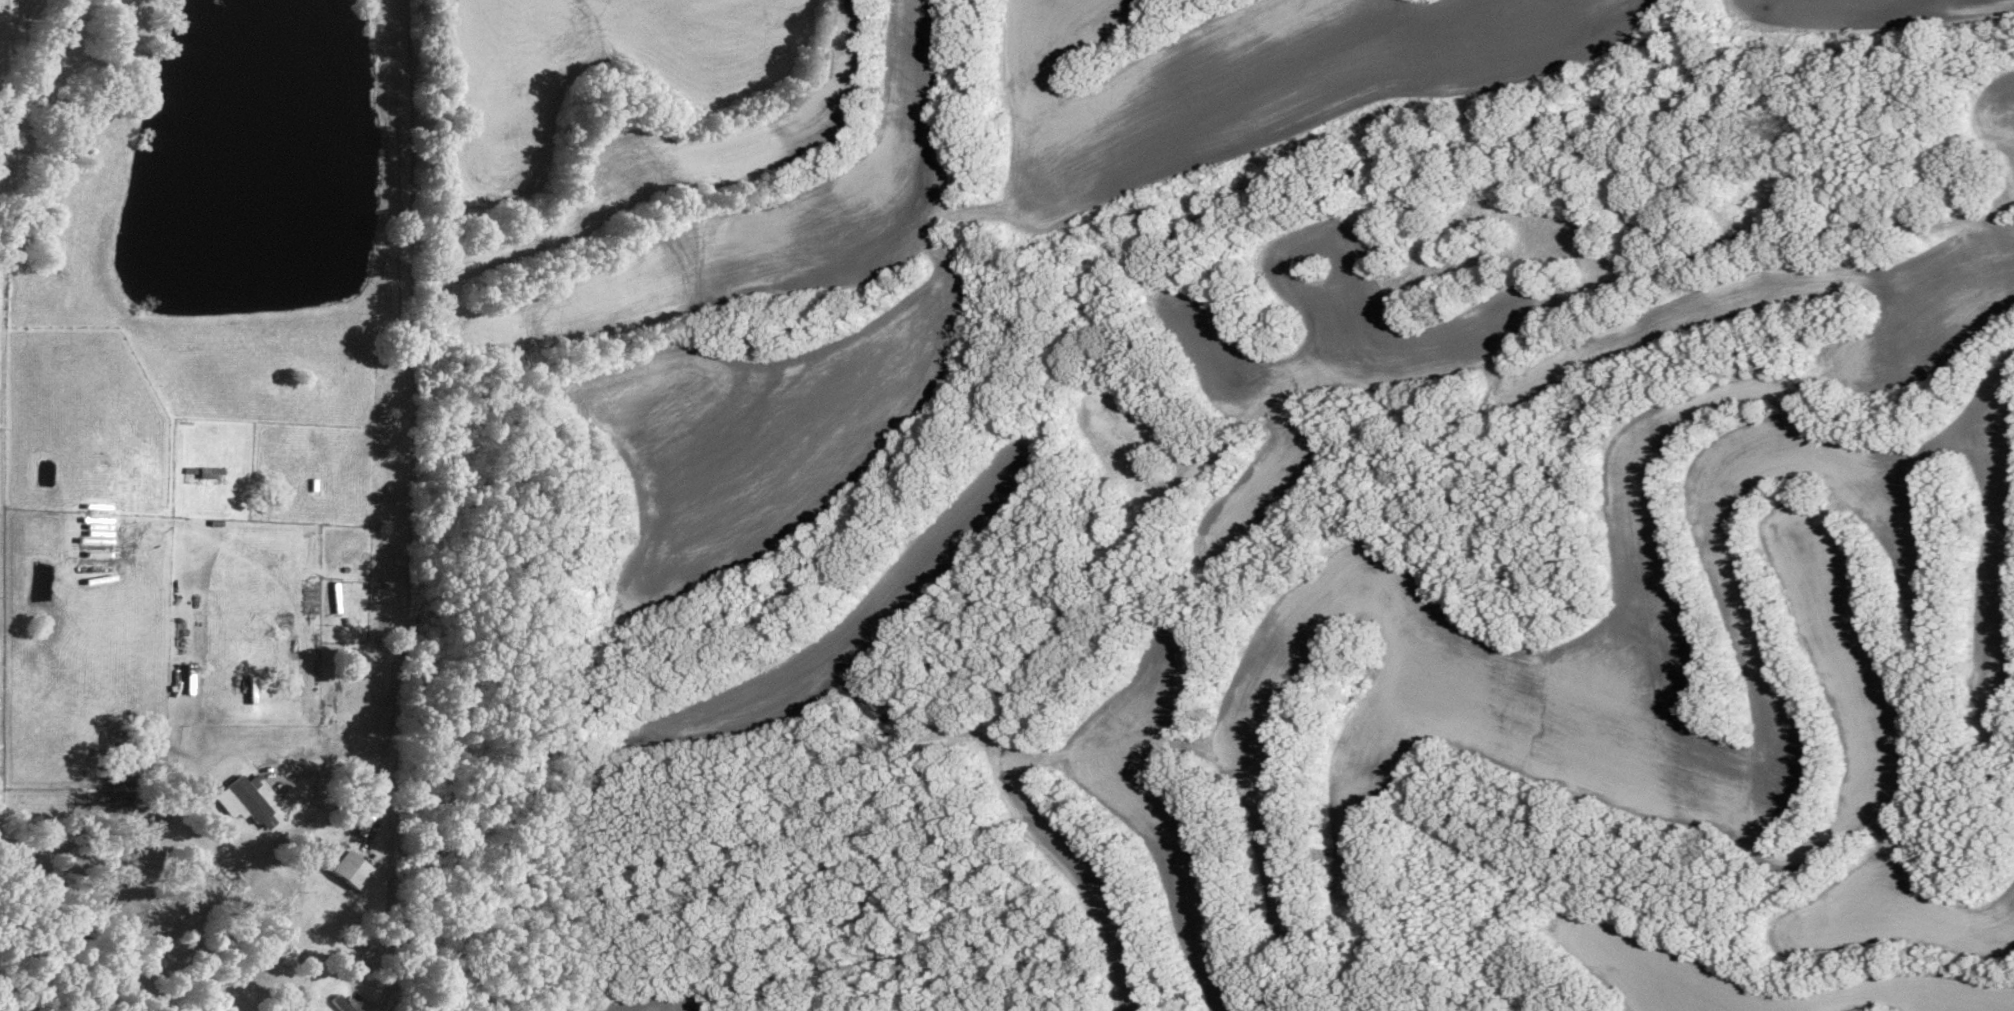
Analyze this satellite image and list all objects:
road: (402, 368)
road: (340, 754)
building: (247, 797)
road: (398, 854)
building: (341, 863)
building: (344, 1002)

